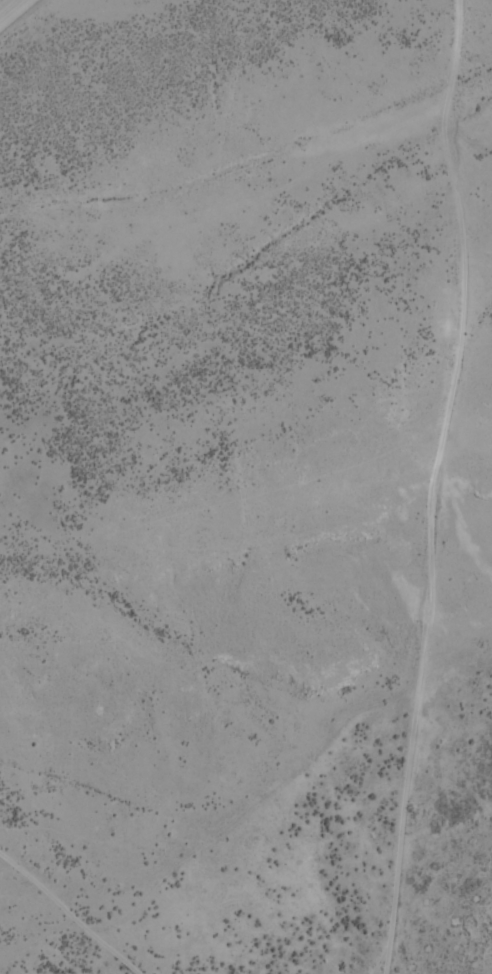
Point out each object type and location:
road: (10, 8)
road: (388, 556)

